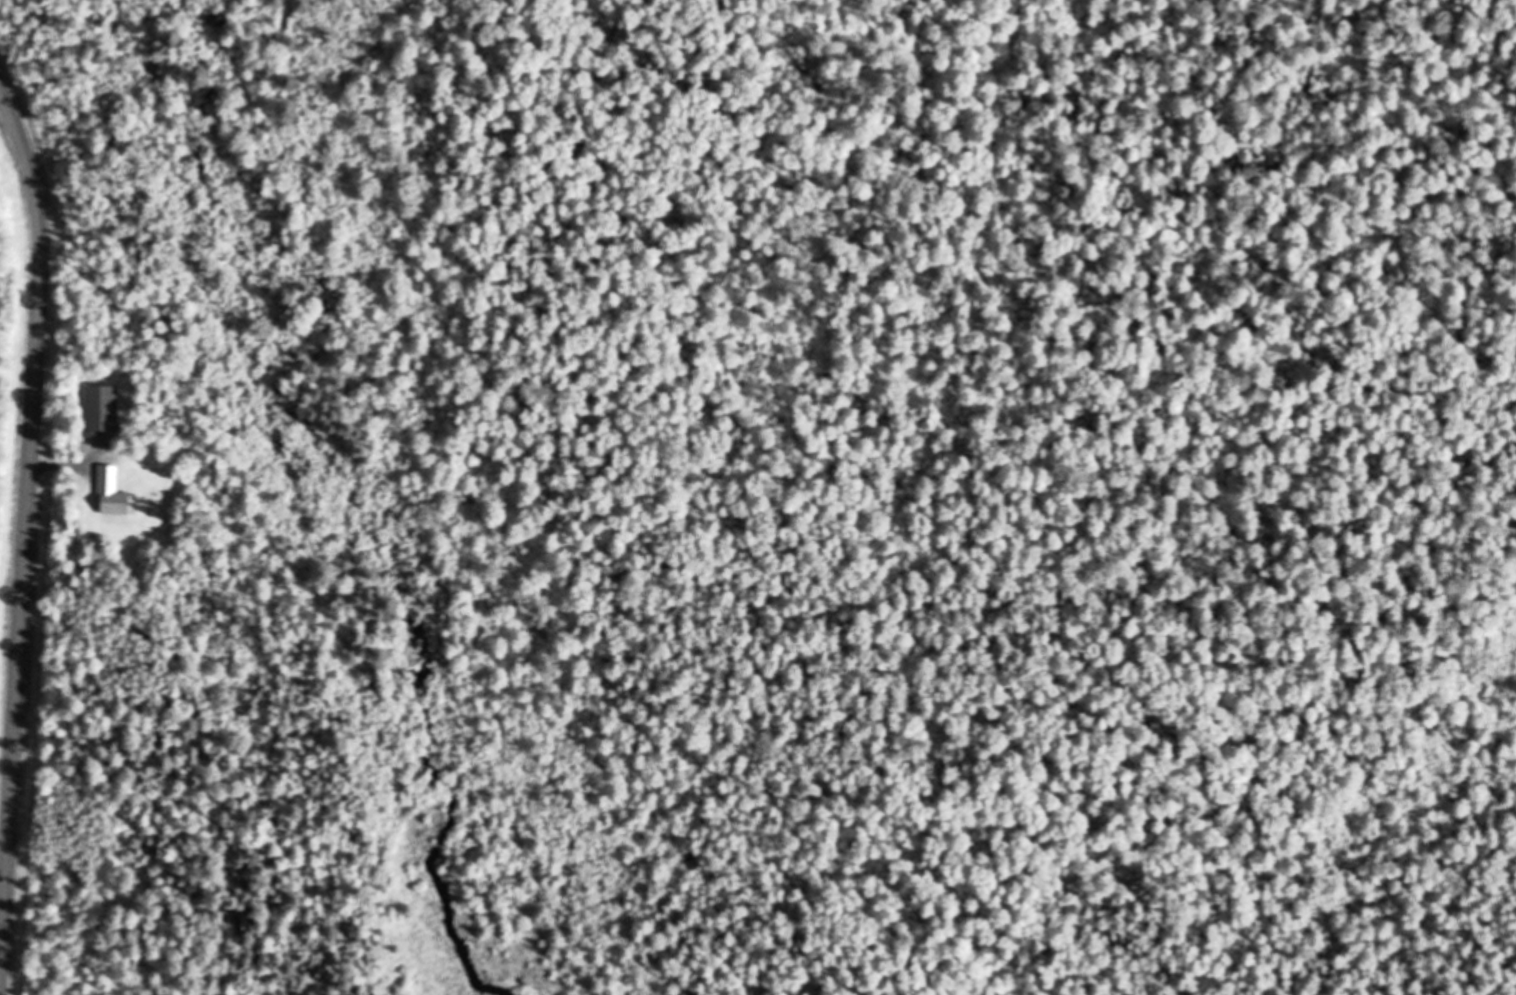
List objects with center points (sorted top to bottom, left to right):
building: (101, 407)
road: (56, 466)
building: (110, 492)
road: (25, 505)

